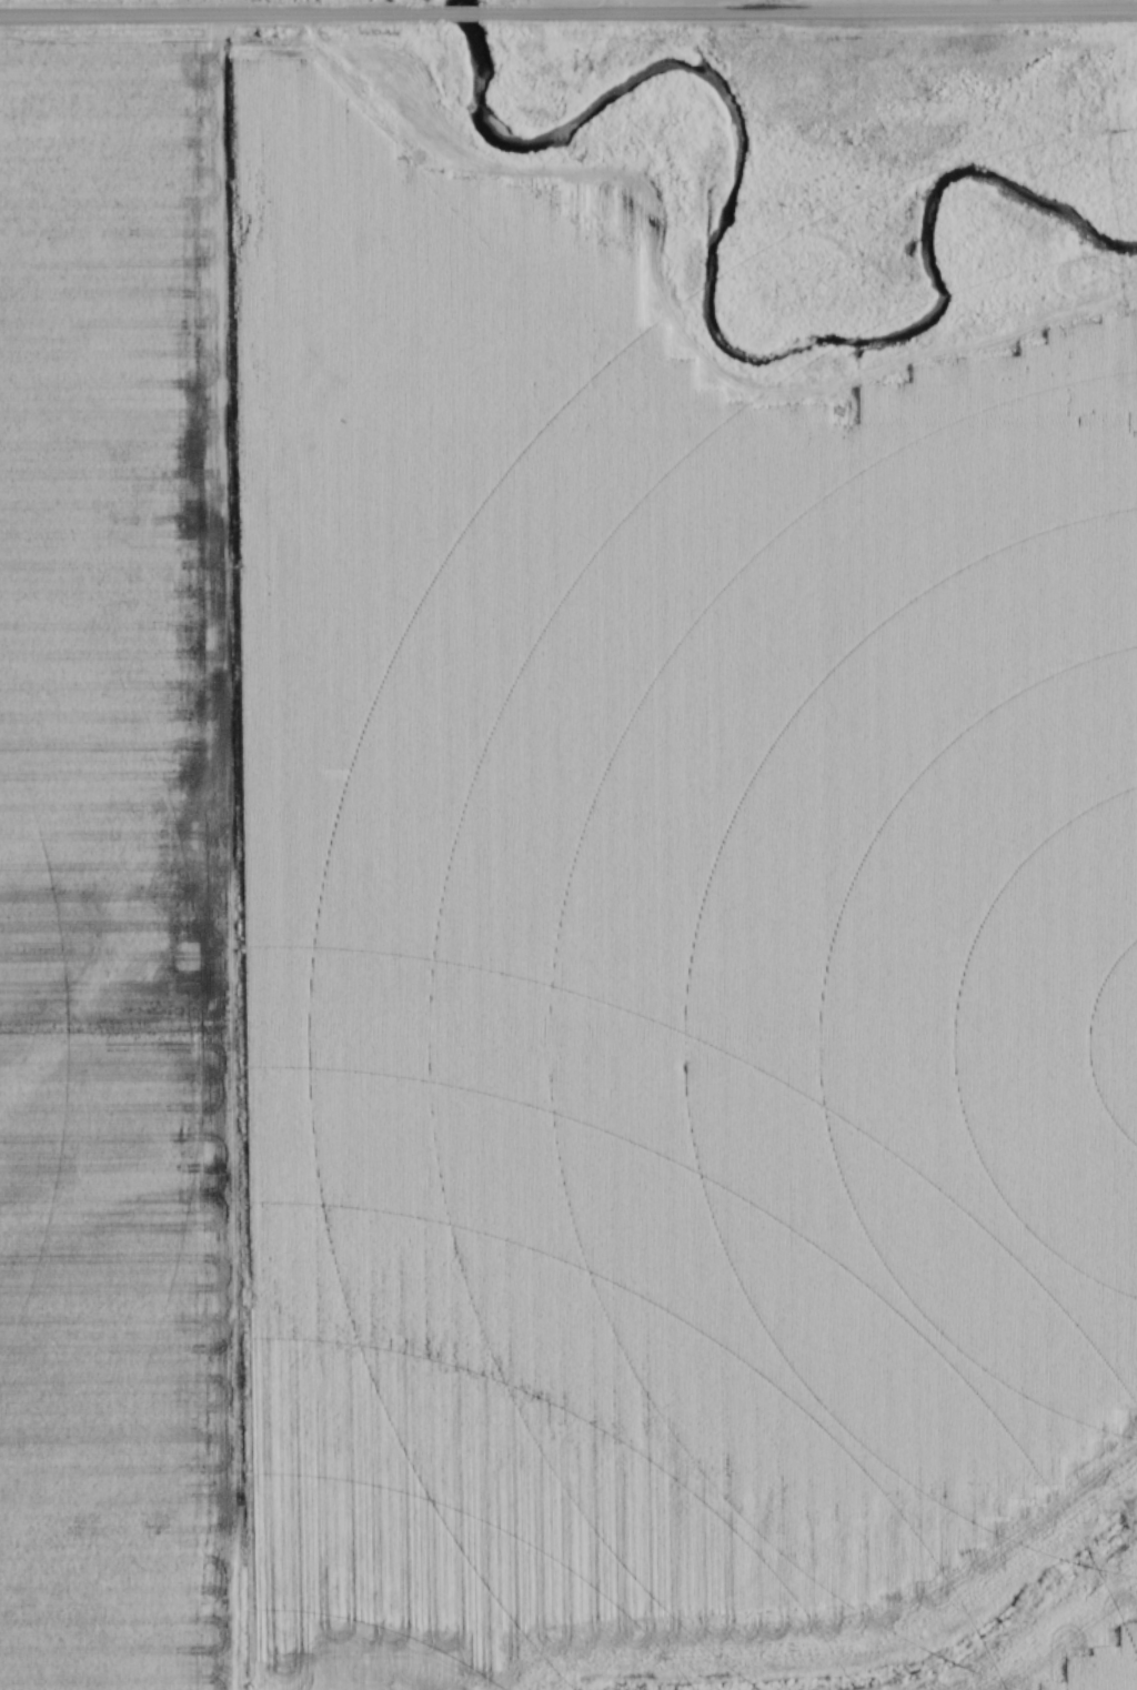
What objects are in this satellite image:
road: (806, 11)
road: (461, 14)
road: (222, 16)

